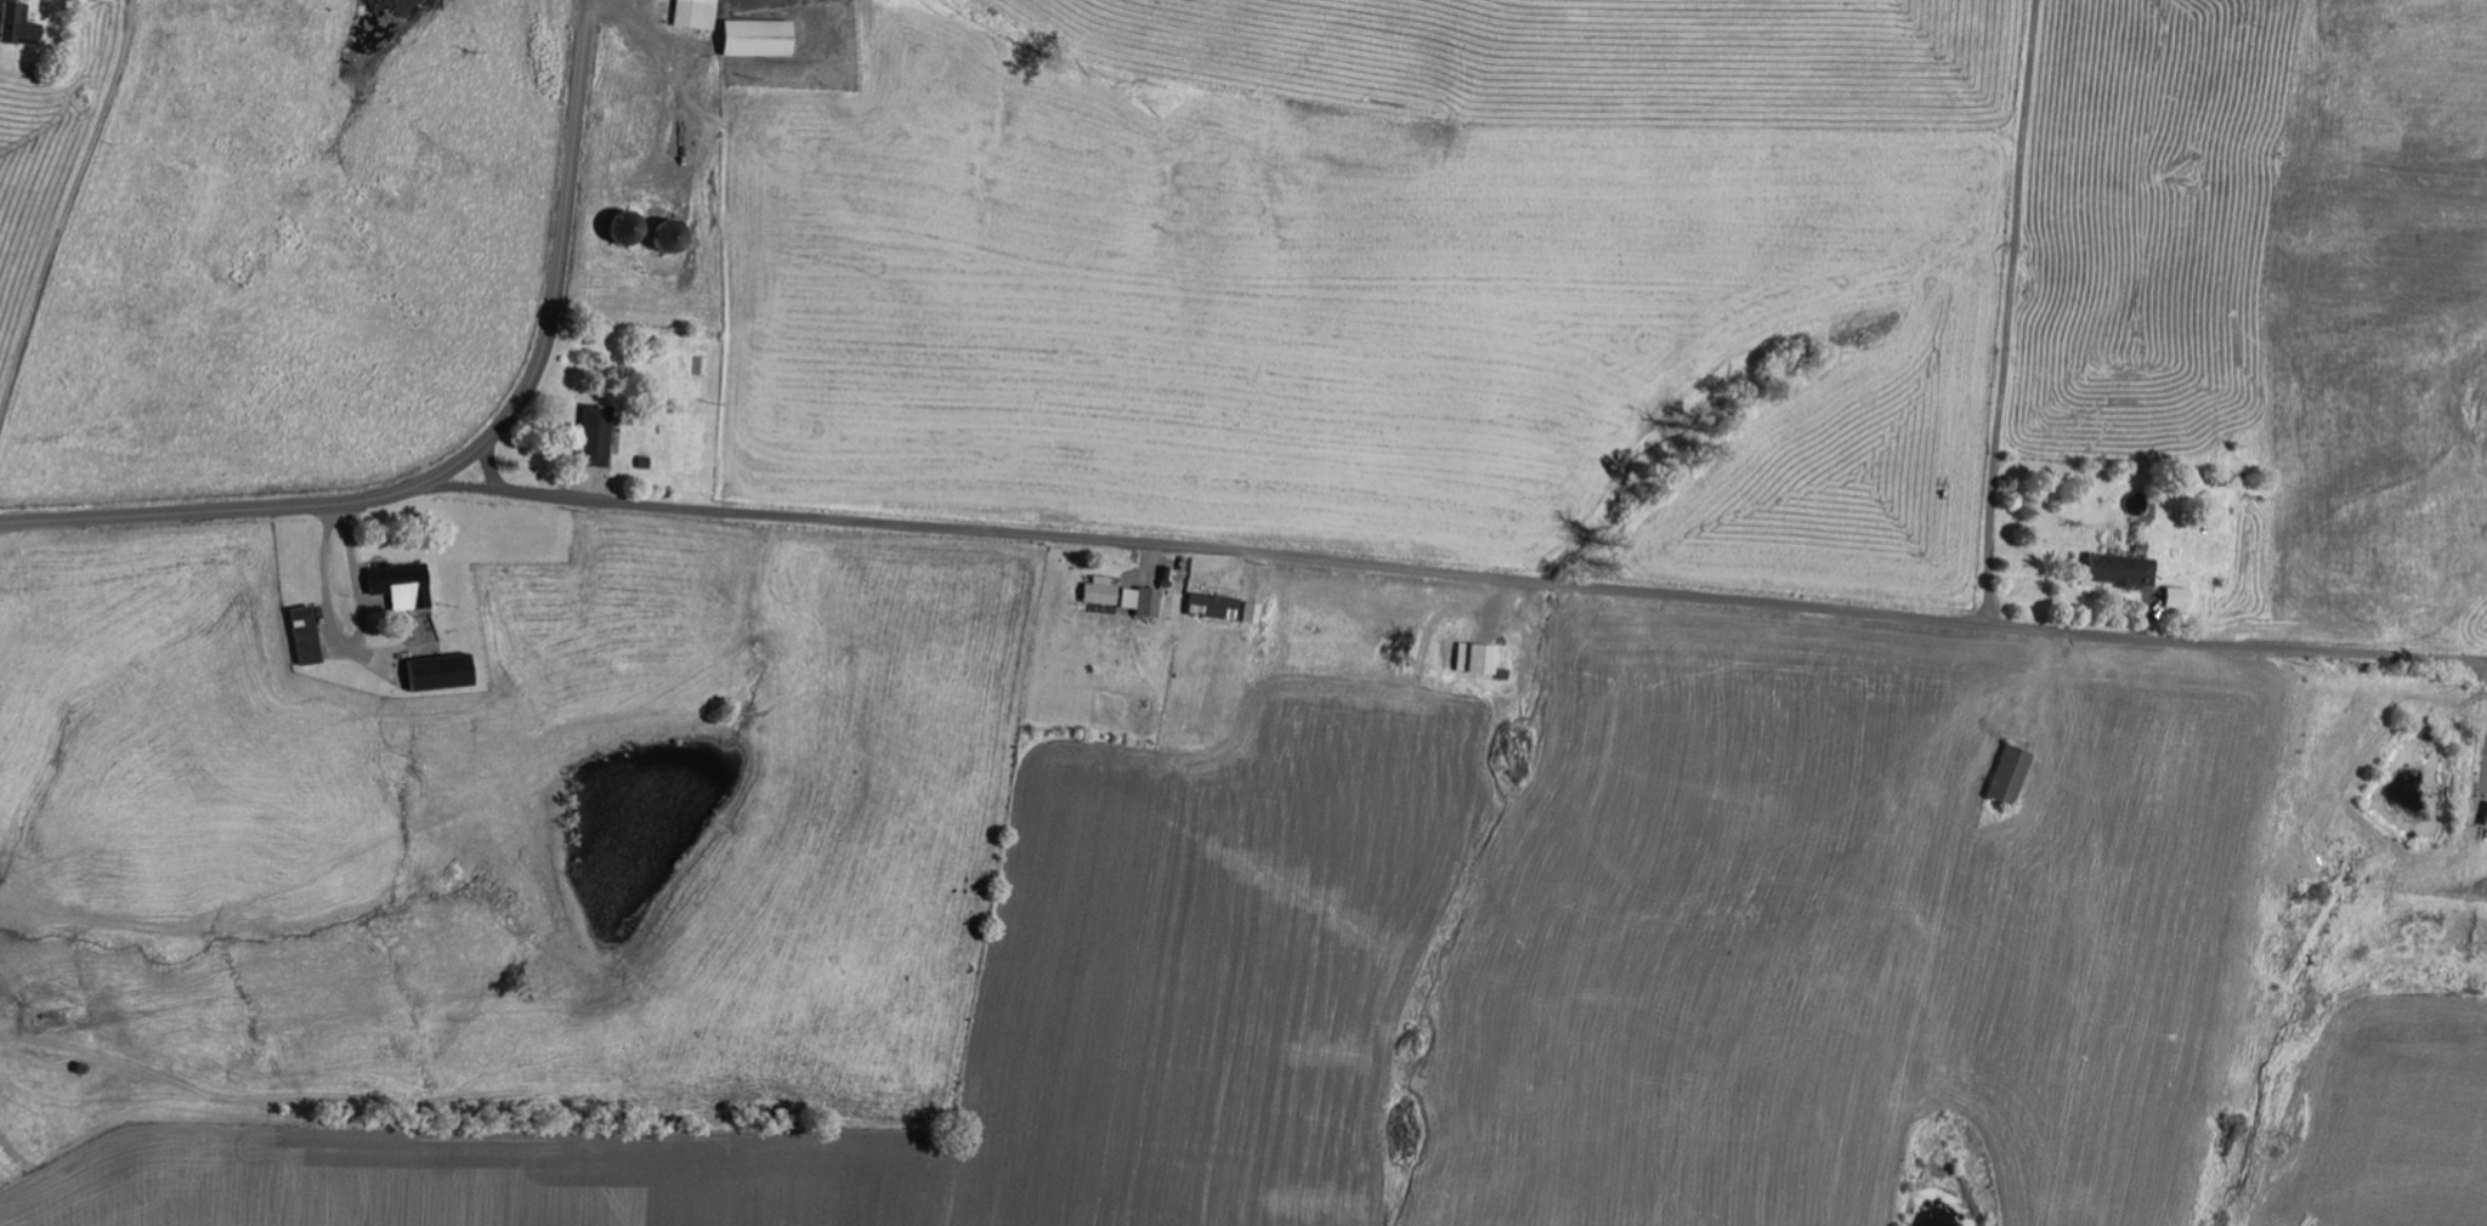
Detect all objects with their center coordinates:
building: (695, 13)
building: (16, 23)
building: (757, 36)
road: (46, 153)
building: (624, 226)
building: (669, 234)
road: (1942, 308)
building: (594, 433)
road: (471, 453)
building: (2119, 569)
road: (1463, 574)
building: (401, 584)
building: (1097, 589)
building: (2174, 596)
building: (1137, 600)
building: (1209, 603)
building: (1247, 612)
building: (305, 634)
building: (1473, 657)
building: (440, 670)
building: (2009, 773)
building: (2486, 821)

